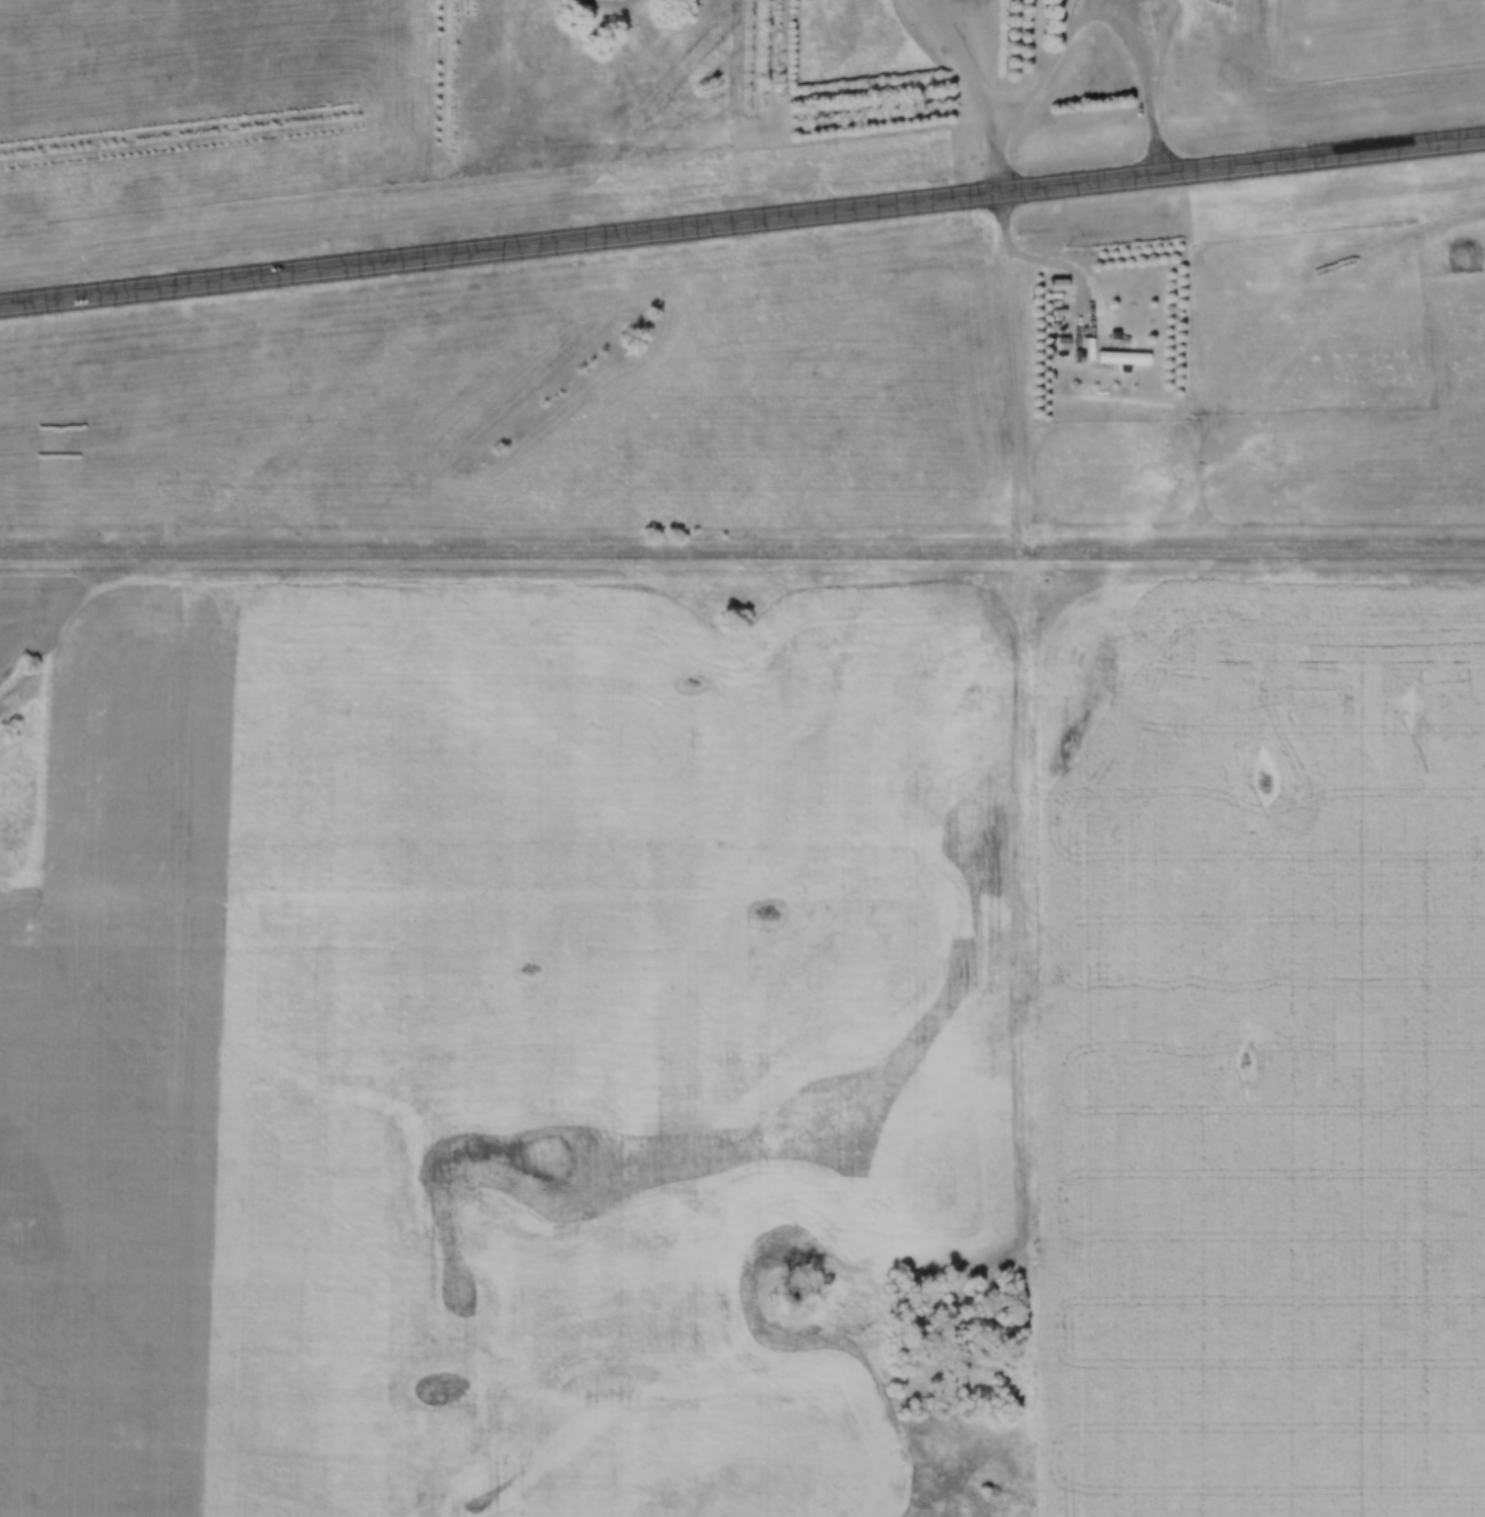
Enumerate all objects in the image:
road: (1086, 14)
road: (971, 67)
road: (742, 224)
road: (1067, 267)
building: (1106, 348)
road: (742, 553)
road: (1021, 883)

